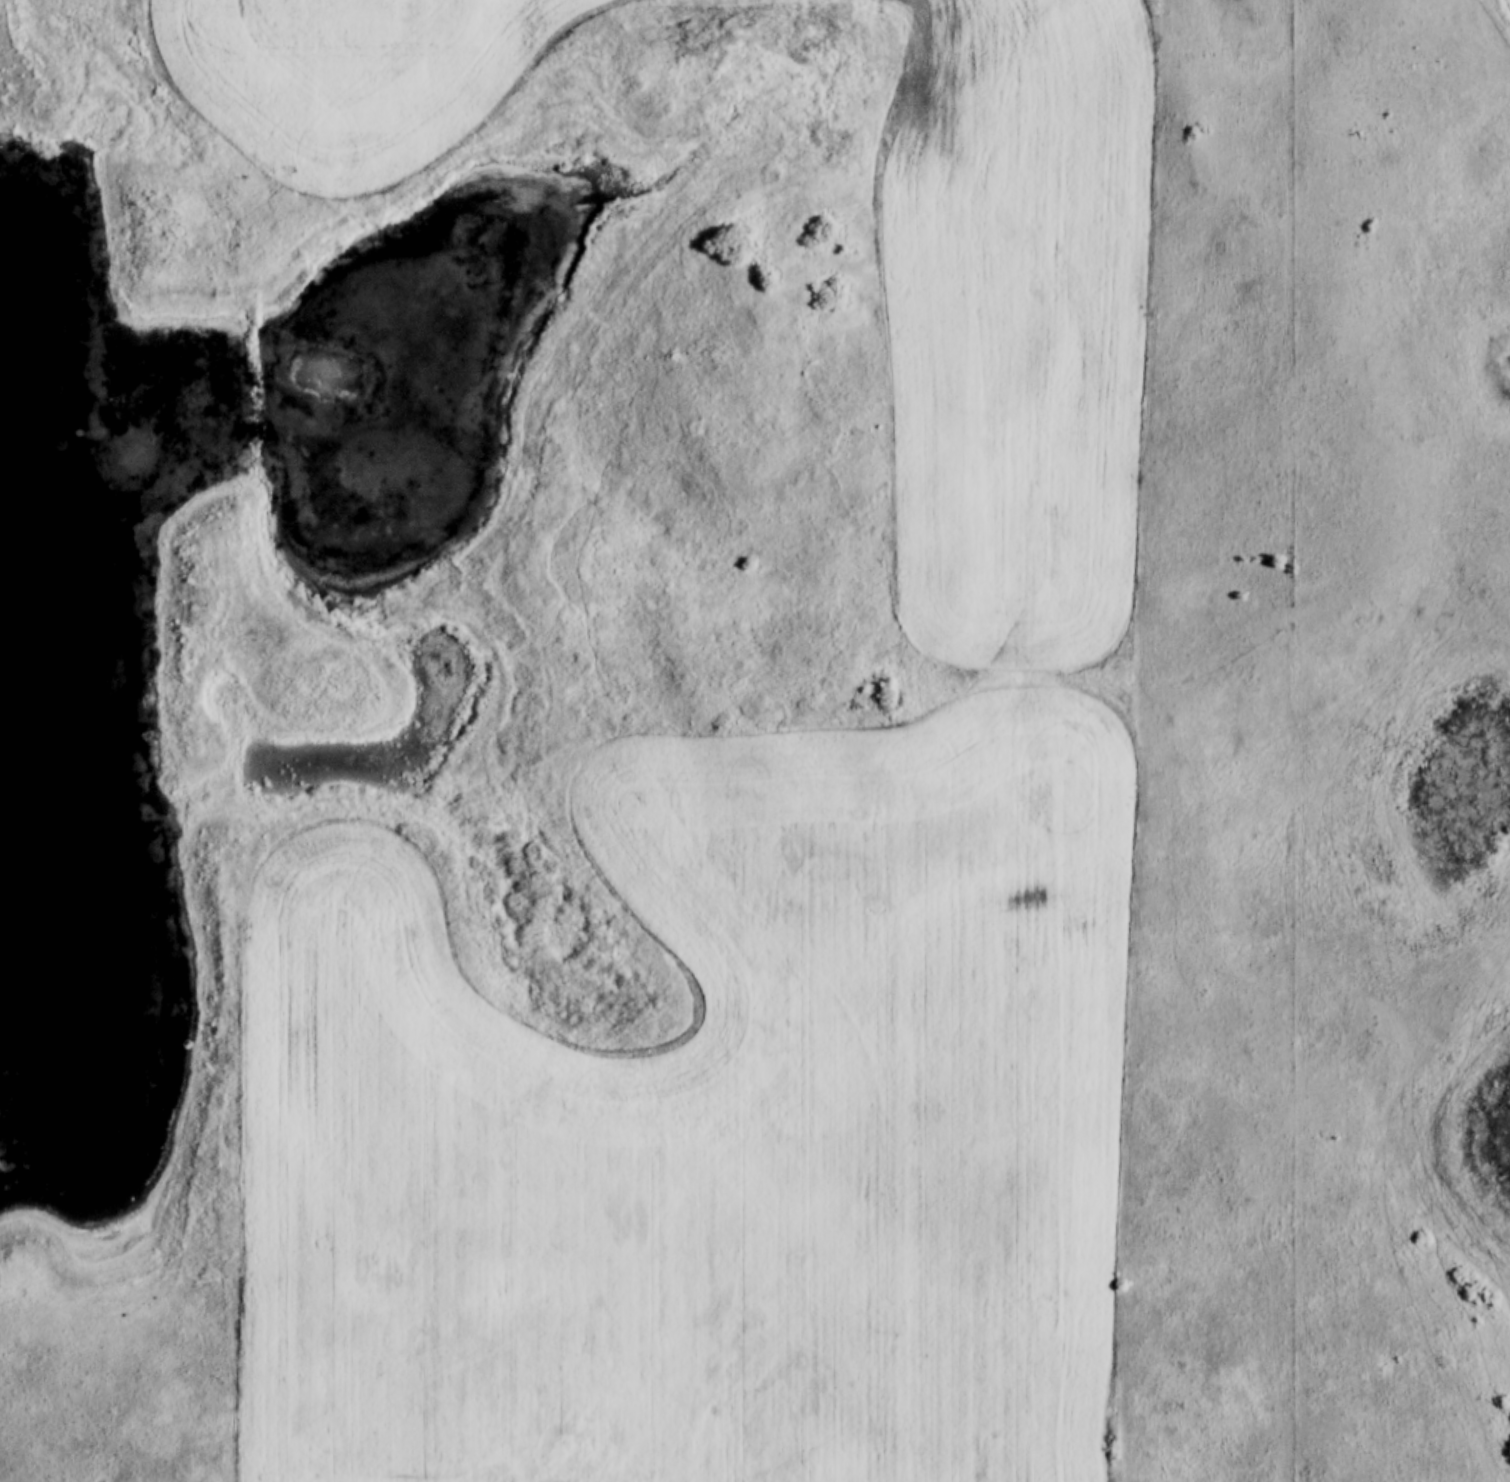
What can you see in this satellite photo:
road: (630, 266)
road: (738, 659)
road: (250, 812)

